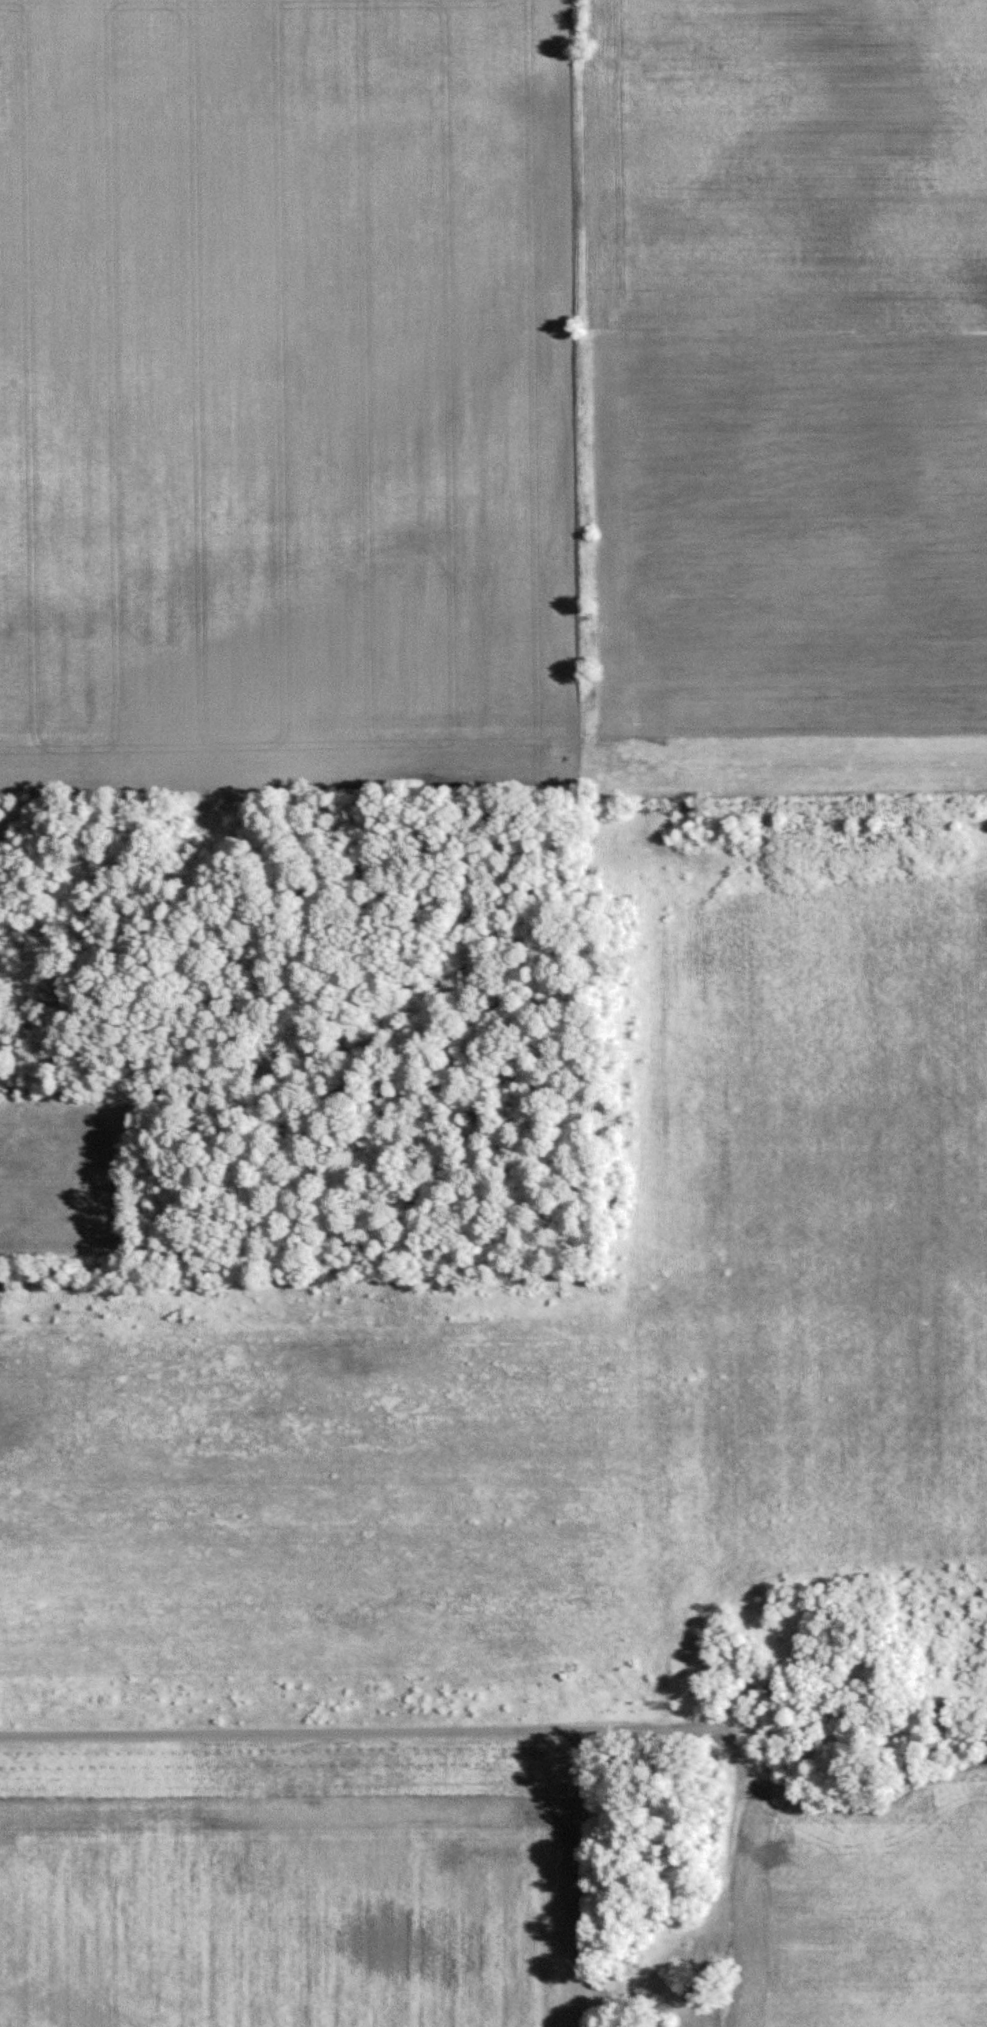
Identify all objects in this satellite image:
road: (513, 1724)

